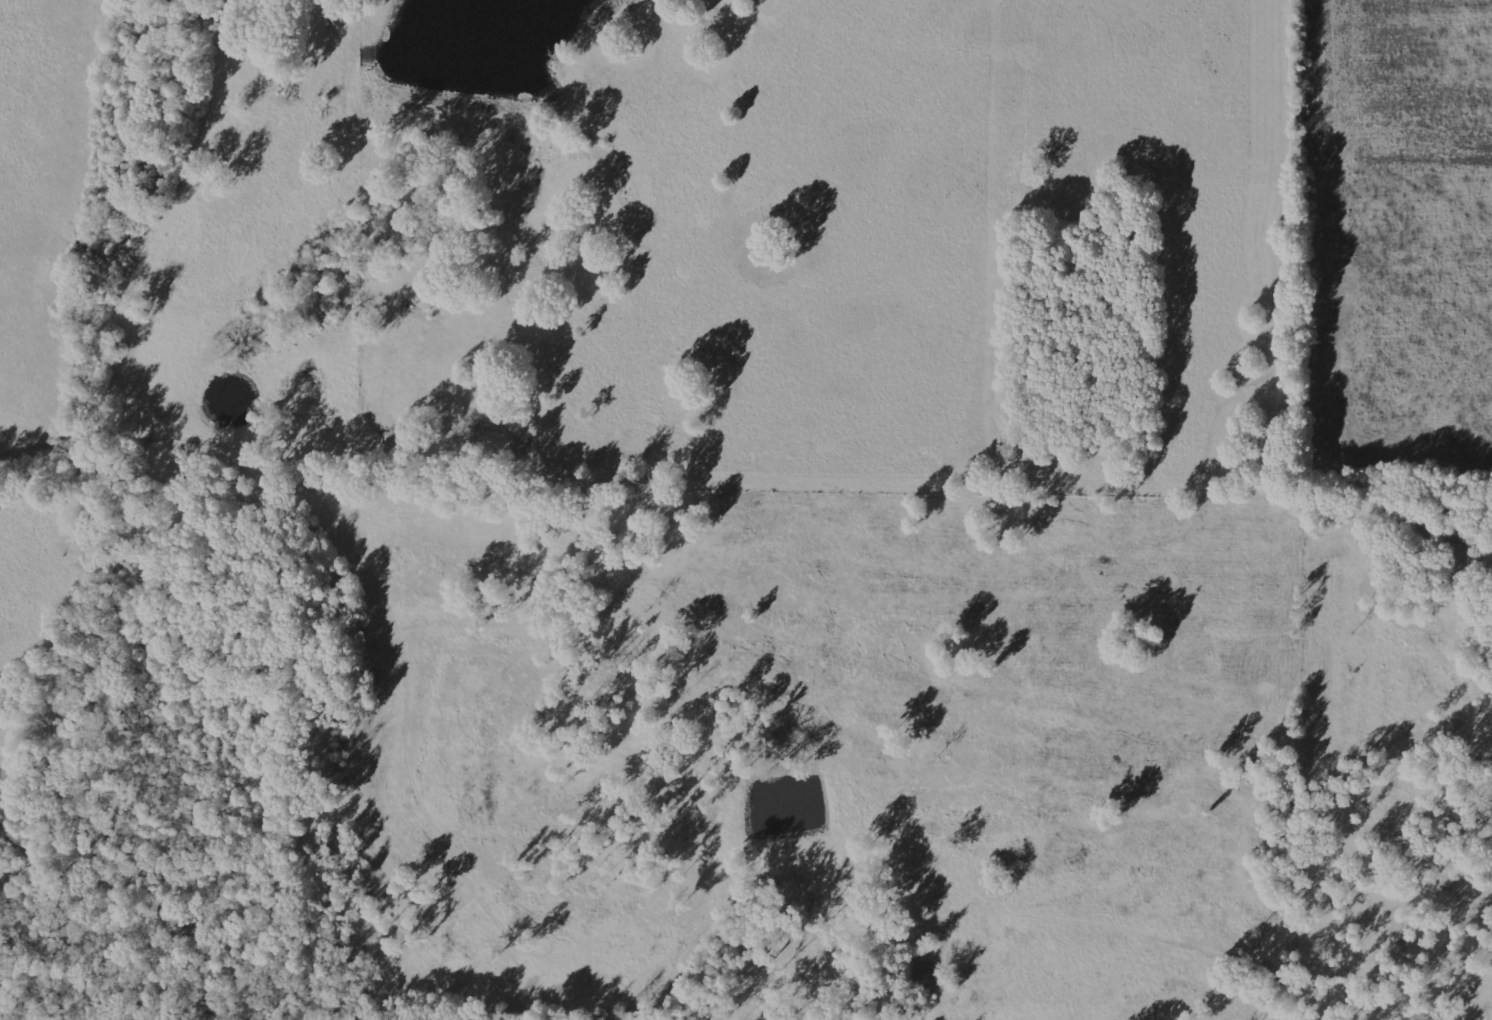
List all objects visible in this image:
road: (792, 840)
road: (1252, 966)

